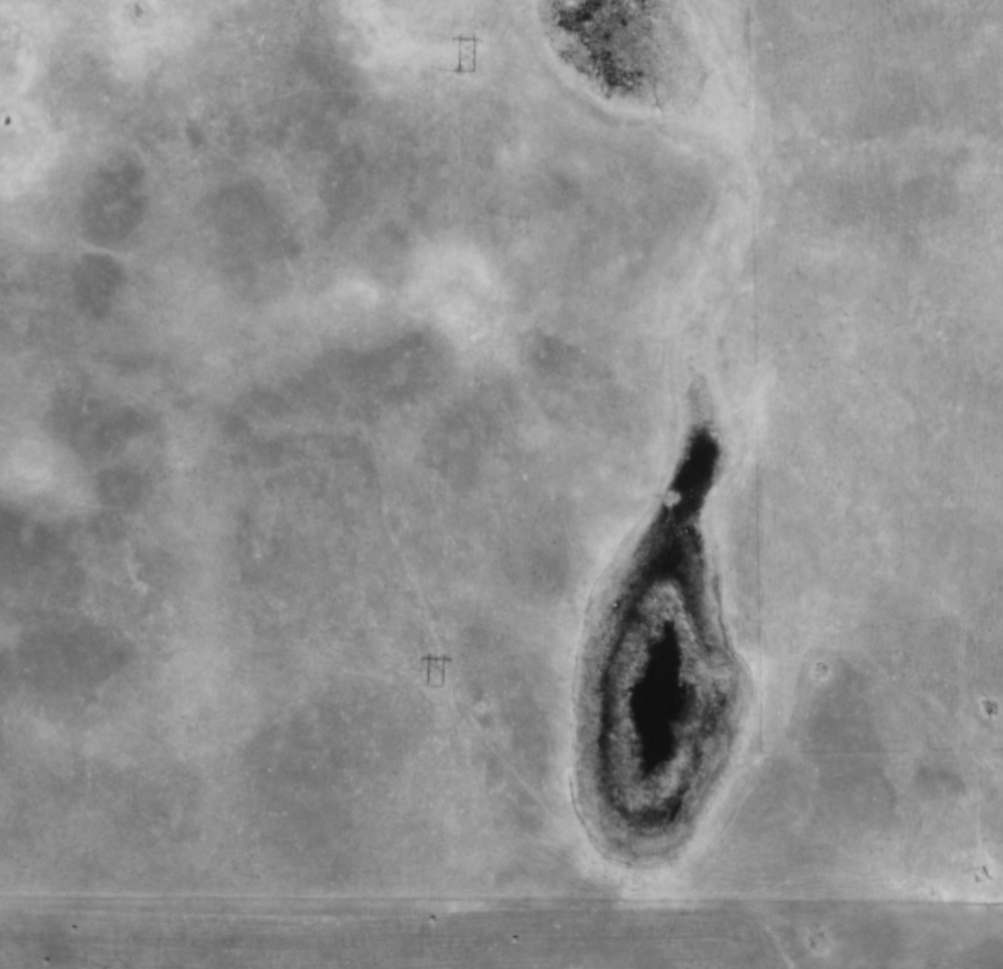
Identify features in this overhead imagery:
power tower: (465, 71)
power tower: (432, 685)

